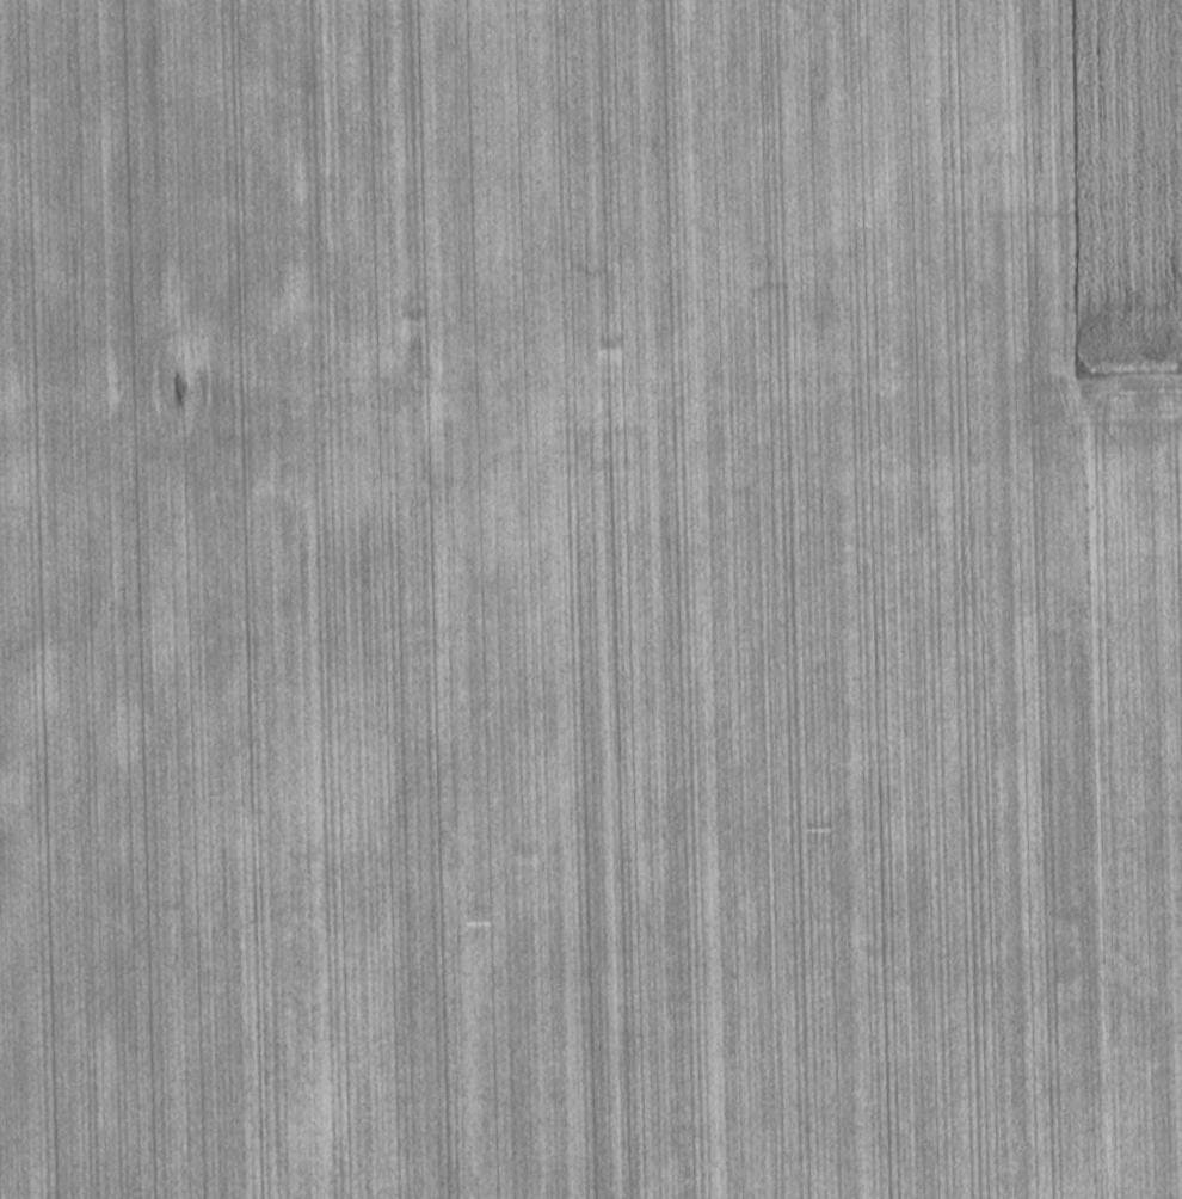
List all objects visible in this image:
crop: (591, 599)

